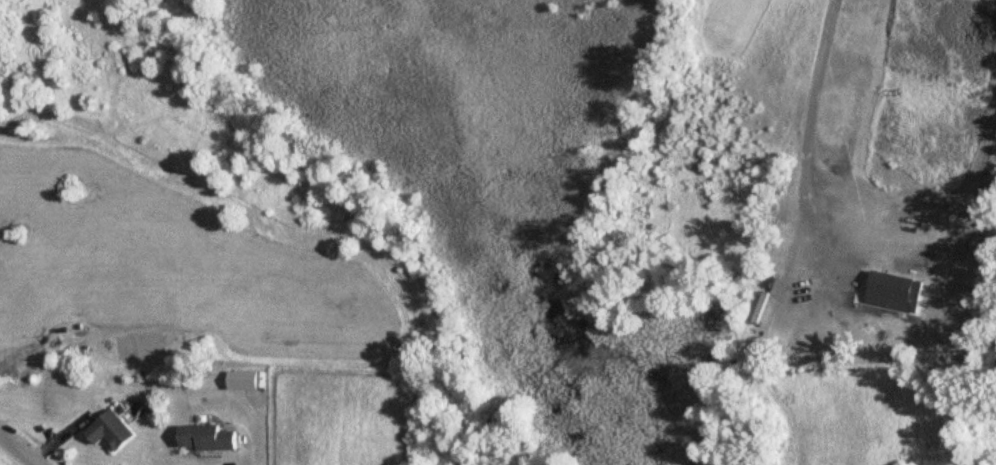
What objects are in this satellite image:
road: (810, 121)
building: (112, 431)
building: (207, 439)
road: (17, 449)
road: (227, 463)

